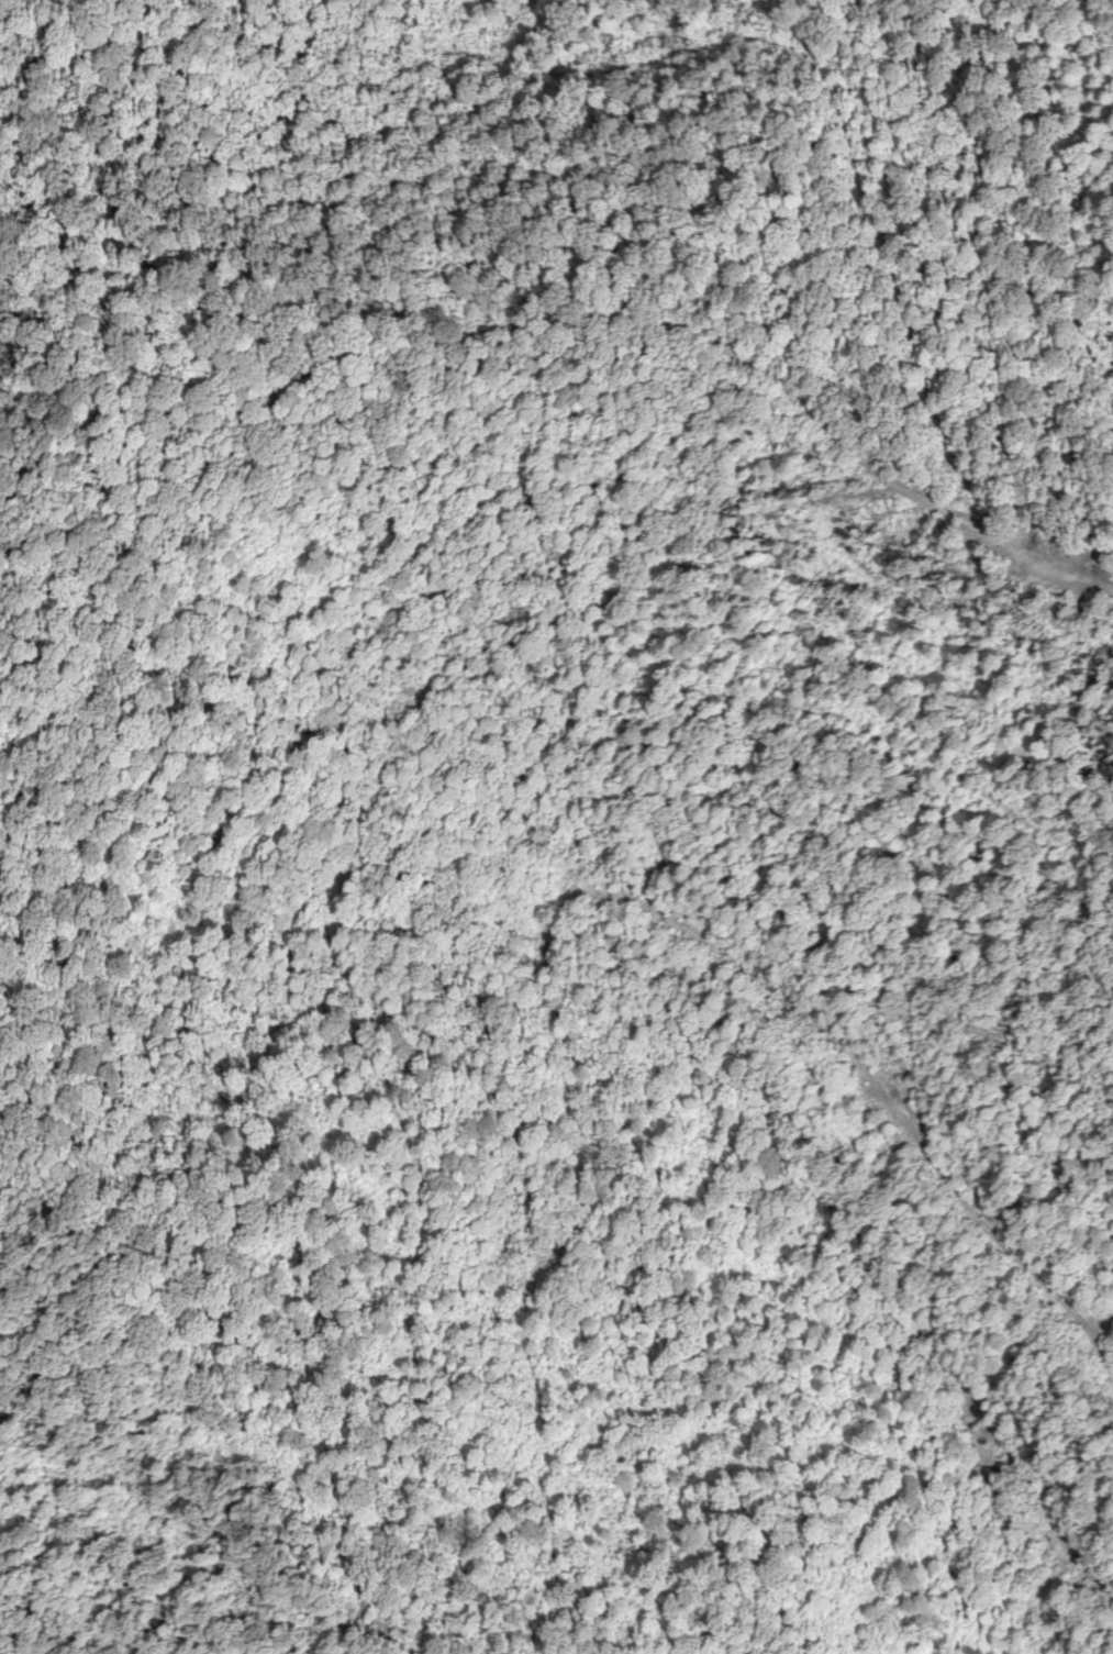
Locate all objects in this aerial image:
road: (1034, 1266)

